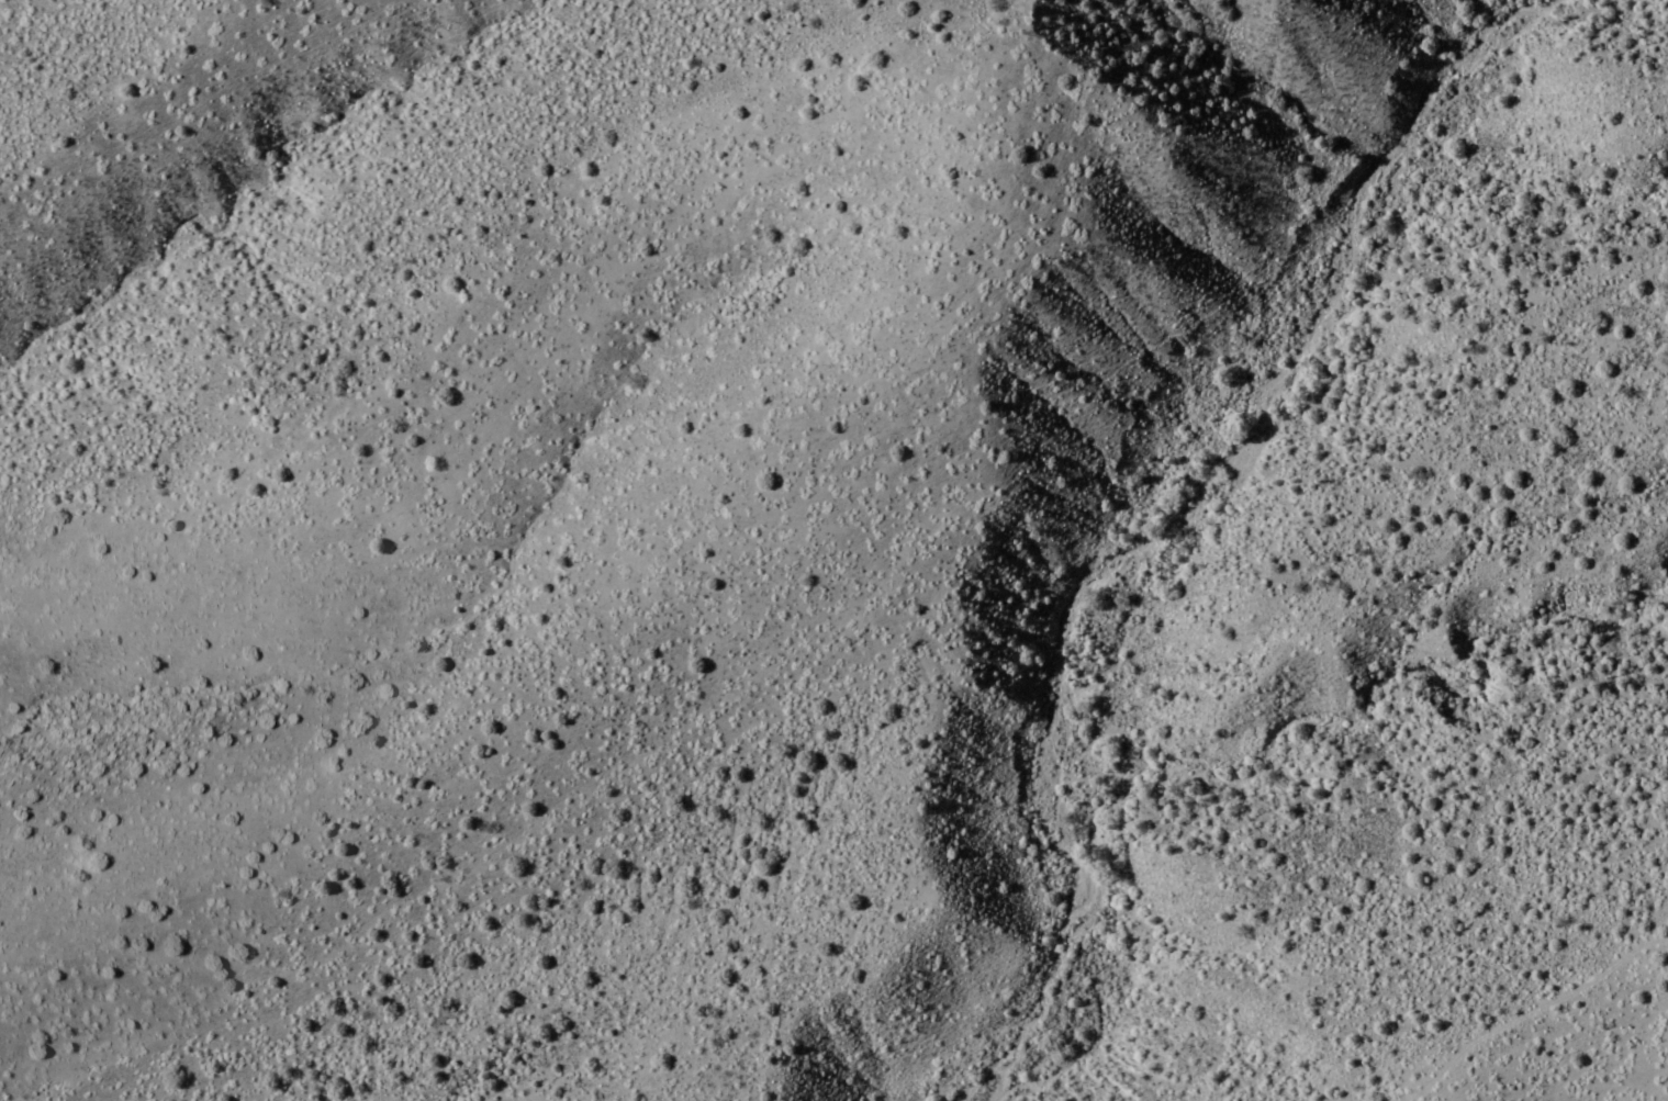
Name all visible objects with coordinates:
road: (1553, 1020)

